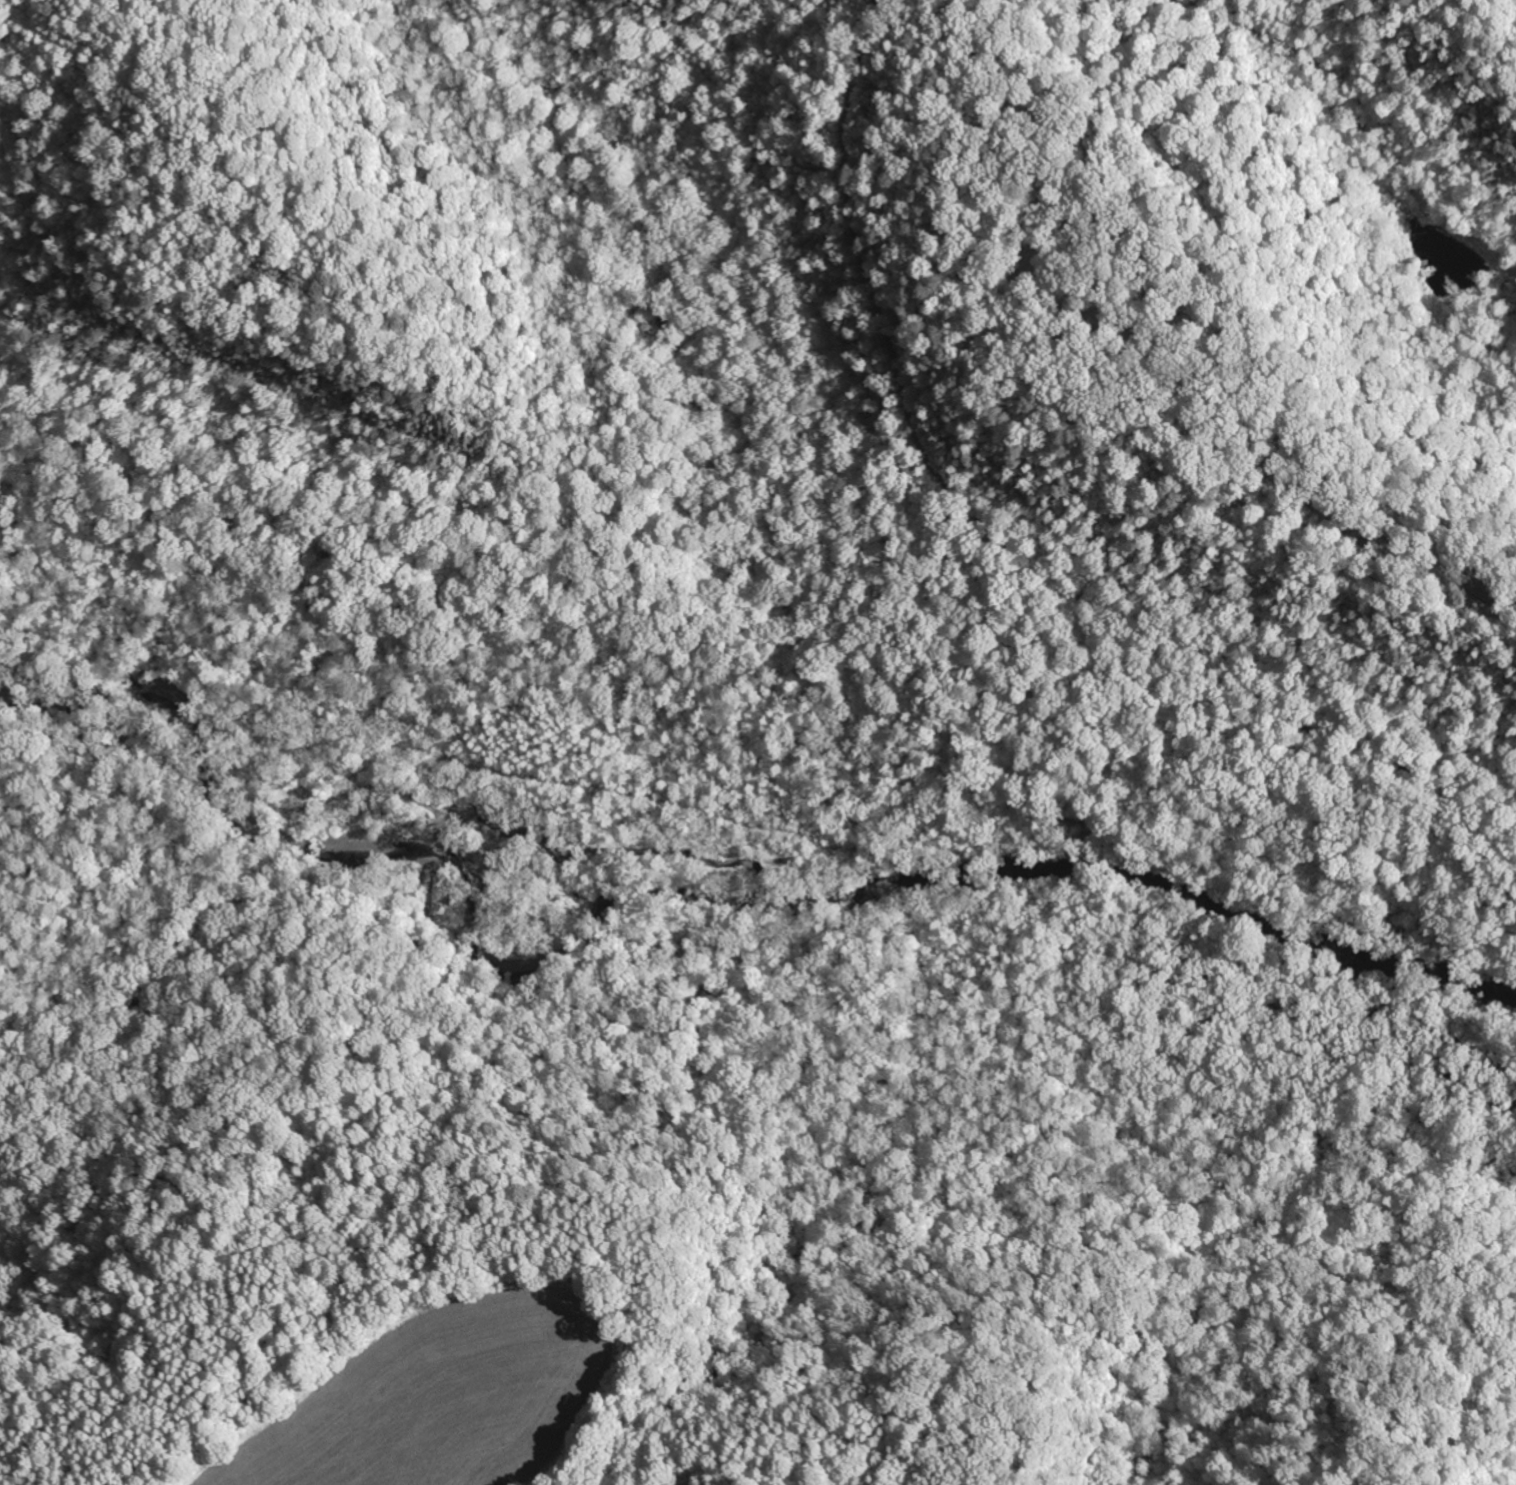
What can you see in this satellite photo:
road: (1009, 550)

